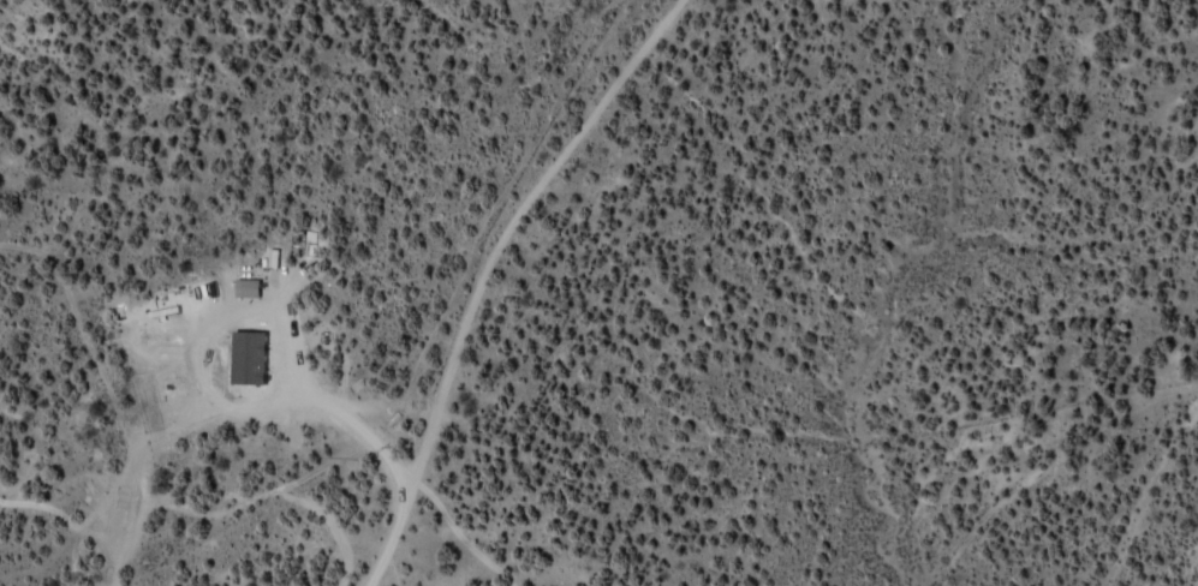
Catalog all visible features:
road: (488, 275)

